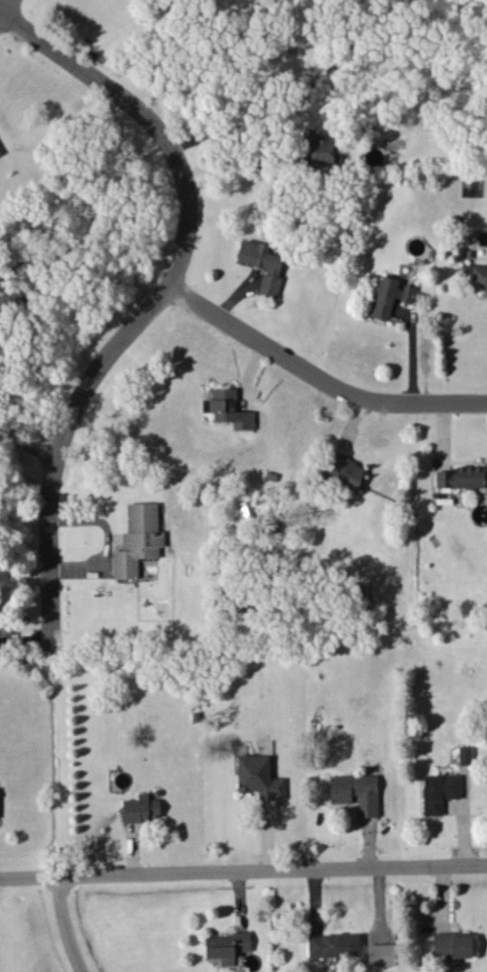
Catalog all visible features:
building: (321, 147)
building: (0, 154)
building: (262, 265)
building: (477, 276)
building: (389, 295)
road: (147, 296)
road: (317, 366)
building: (228, 409)
road: (25, 449)
building: (344, 470)
building: (462, 477)
building: (138, 539)
road: (103, 543)
road: (24, 641)
building: (464, 754)
building: (258, 777)
building: (439, 791)
building: (356, 792)
building: (140, 808)
road: (243, 870)
road: (61, 926)
building: (452, 944)
building: (333, 945)
building: (227, 946)
building: (381, 954)

